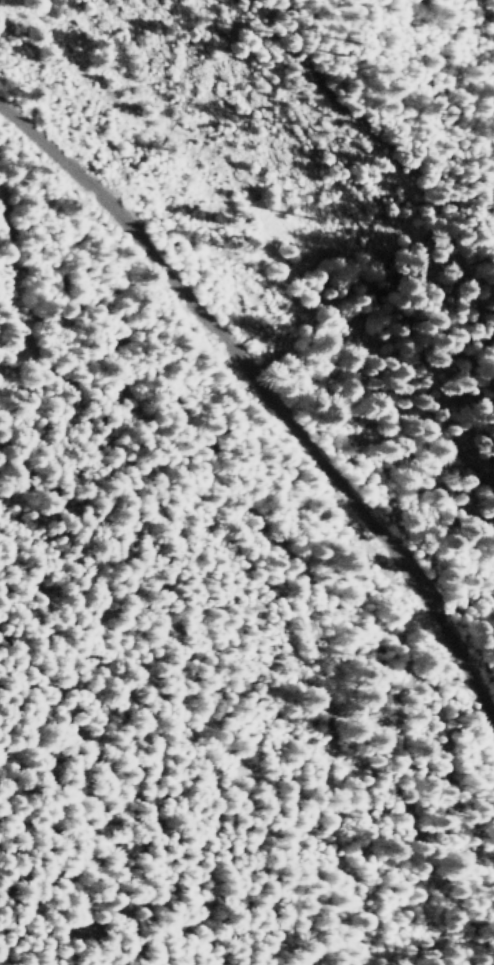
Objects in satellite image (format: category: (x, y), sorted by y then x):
road: (266, 350)

